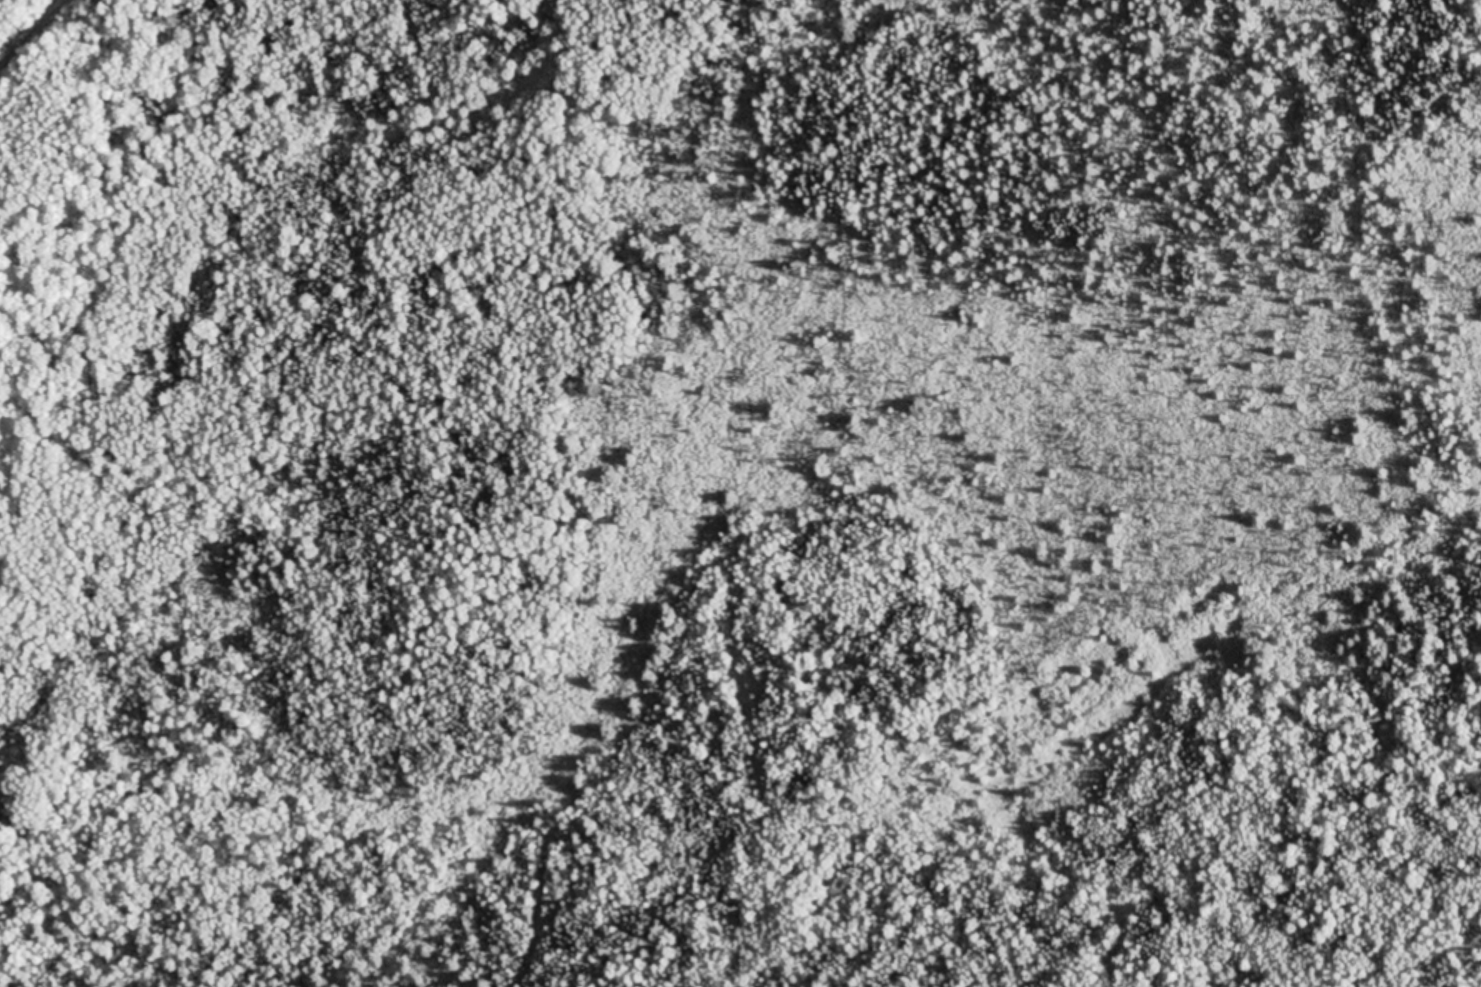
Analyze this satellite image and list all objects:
road: (51, 46)

